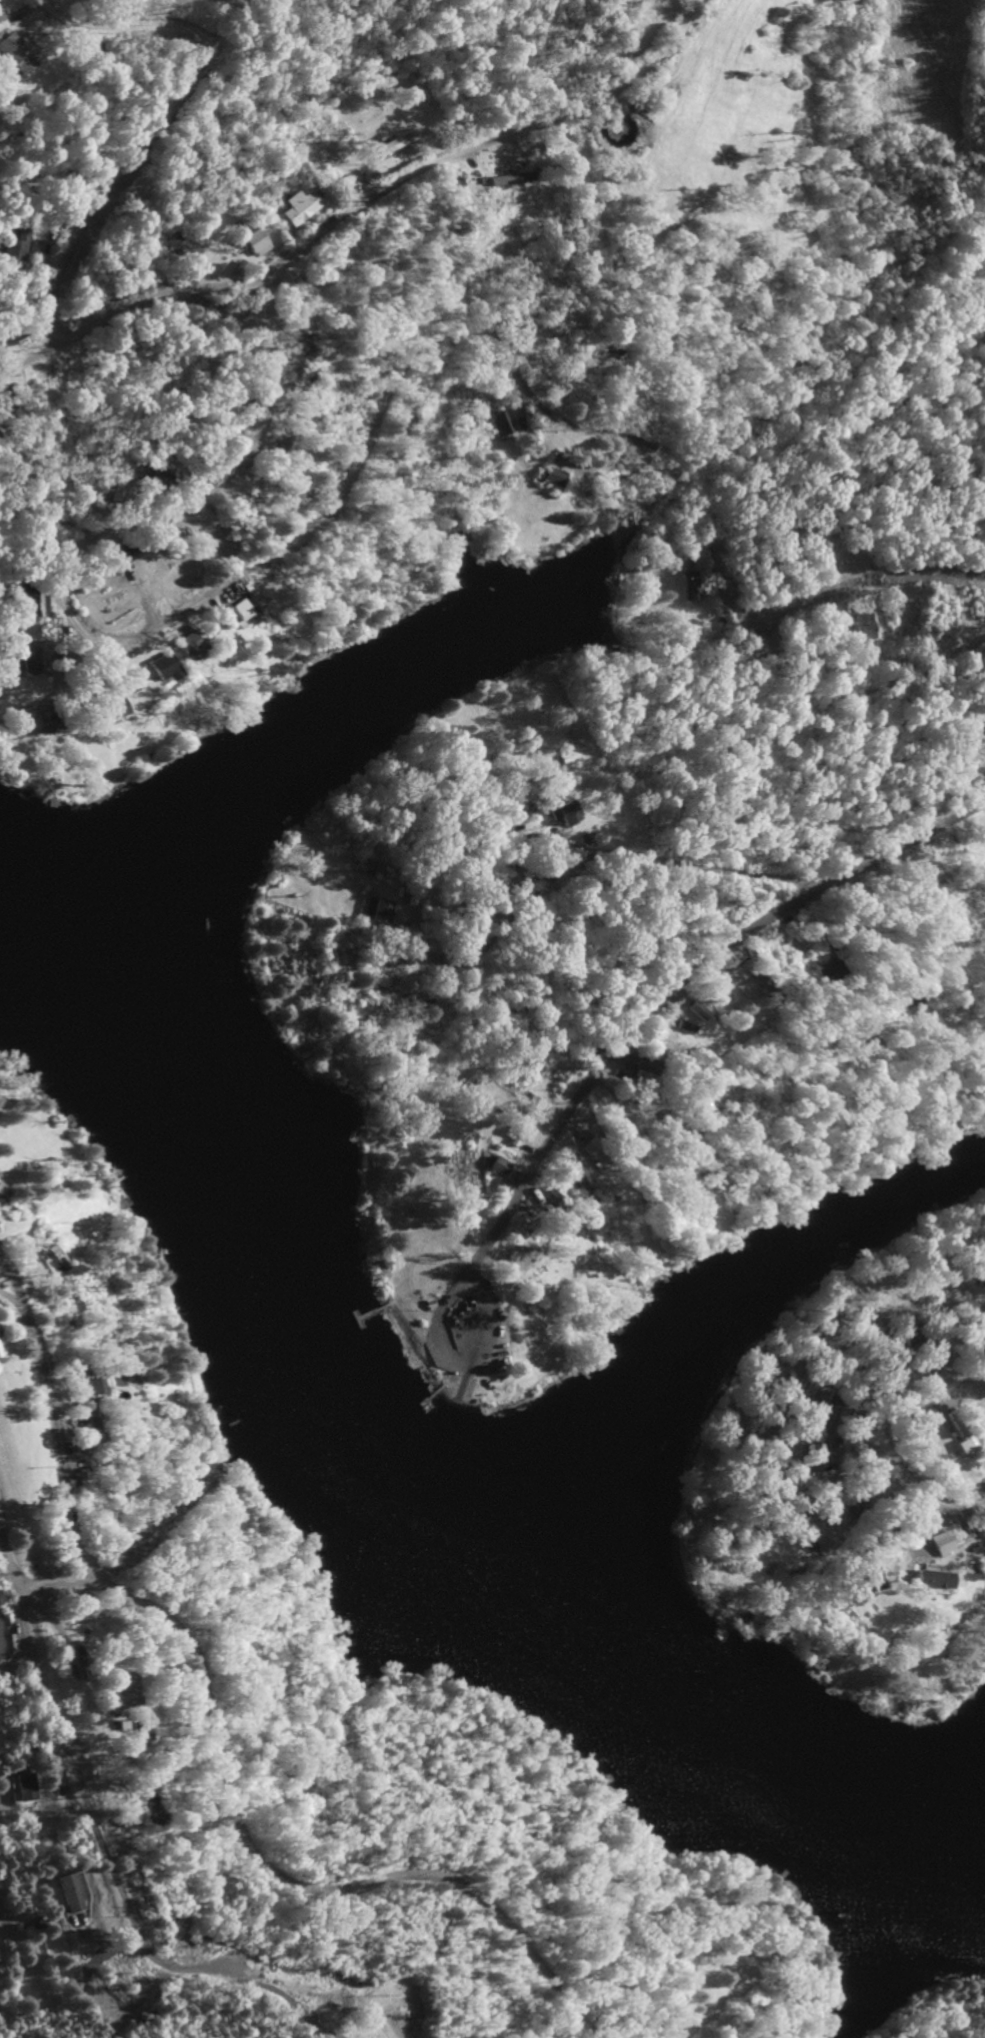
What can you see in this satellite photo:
building: (13, 55)
road: (175, 116)
building: (394, 142)
road: (477, 146)
building: (509, 178)
building: (296, 206)
building: (250, 242)
building: (171, 243)
building: (16, 247)
road: (28, 359)
building: (500, 422)
building: (154, 475)
building: (552, 478)
road: (308, 522)
road: (40, 535)
building: (179, 557)
building: (159, 560)
building: (690, 586)
building: (25, 602)
building: (237, 611)
building: (861, 628)
building: (18, 631)
building: (186, 646)
building: (28, 660)
building: (160, 667)
building: (105, 711)
building: (43, 724)
building: (983, 733)
building: (571, 753)
building: (558, 812)
road: (471, 844)
building: (376, 910)
building: (823, 969)
road: (673, 988)
building: (695, 1010)
road: (730, 1022)
building: (682, 1027)
building: (624, 1061)
building: (527, 1106)
road: (826, 1131)
building: (496, 1166)
building: (546, 1194)
building: (50, 1258)
road: (451, 1360)
building: (85, 1387)
road: (877, 1408)
road: (49, 1416)
building: (965, 1443)
building: (815, 1455)
road: (953, 1503)
building: (818, 1529)
building: (981, 1529)
road: (919, 1531)
building: (939, 1543)
building: (874, 1573)
building: (930, 1578)
building: (0, 1639)
building: (114, 1685)
road: (79, 1782)
building: (29, 1786)
road: (258, 1856)
building: (72, 1892)
road: (317, 1983)

